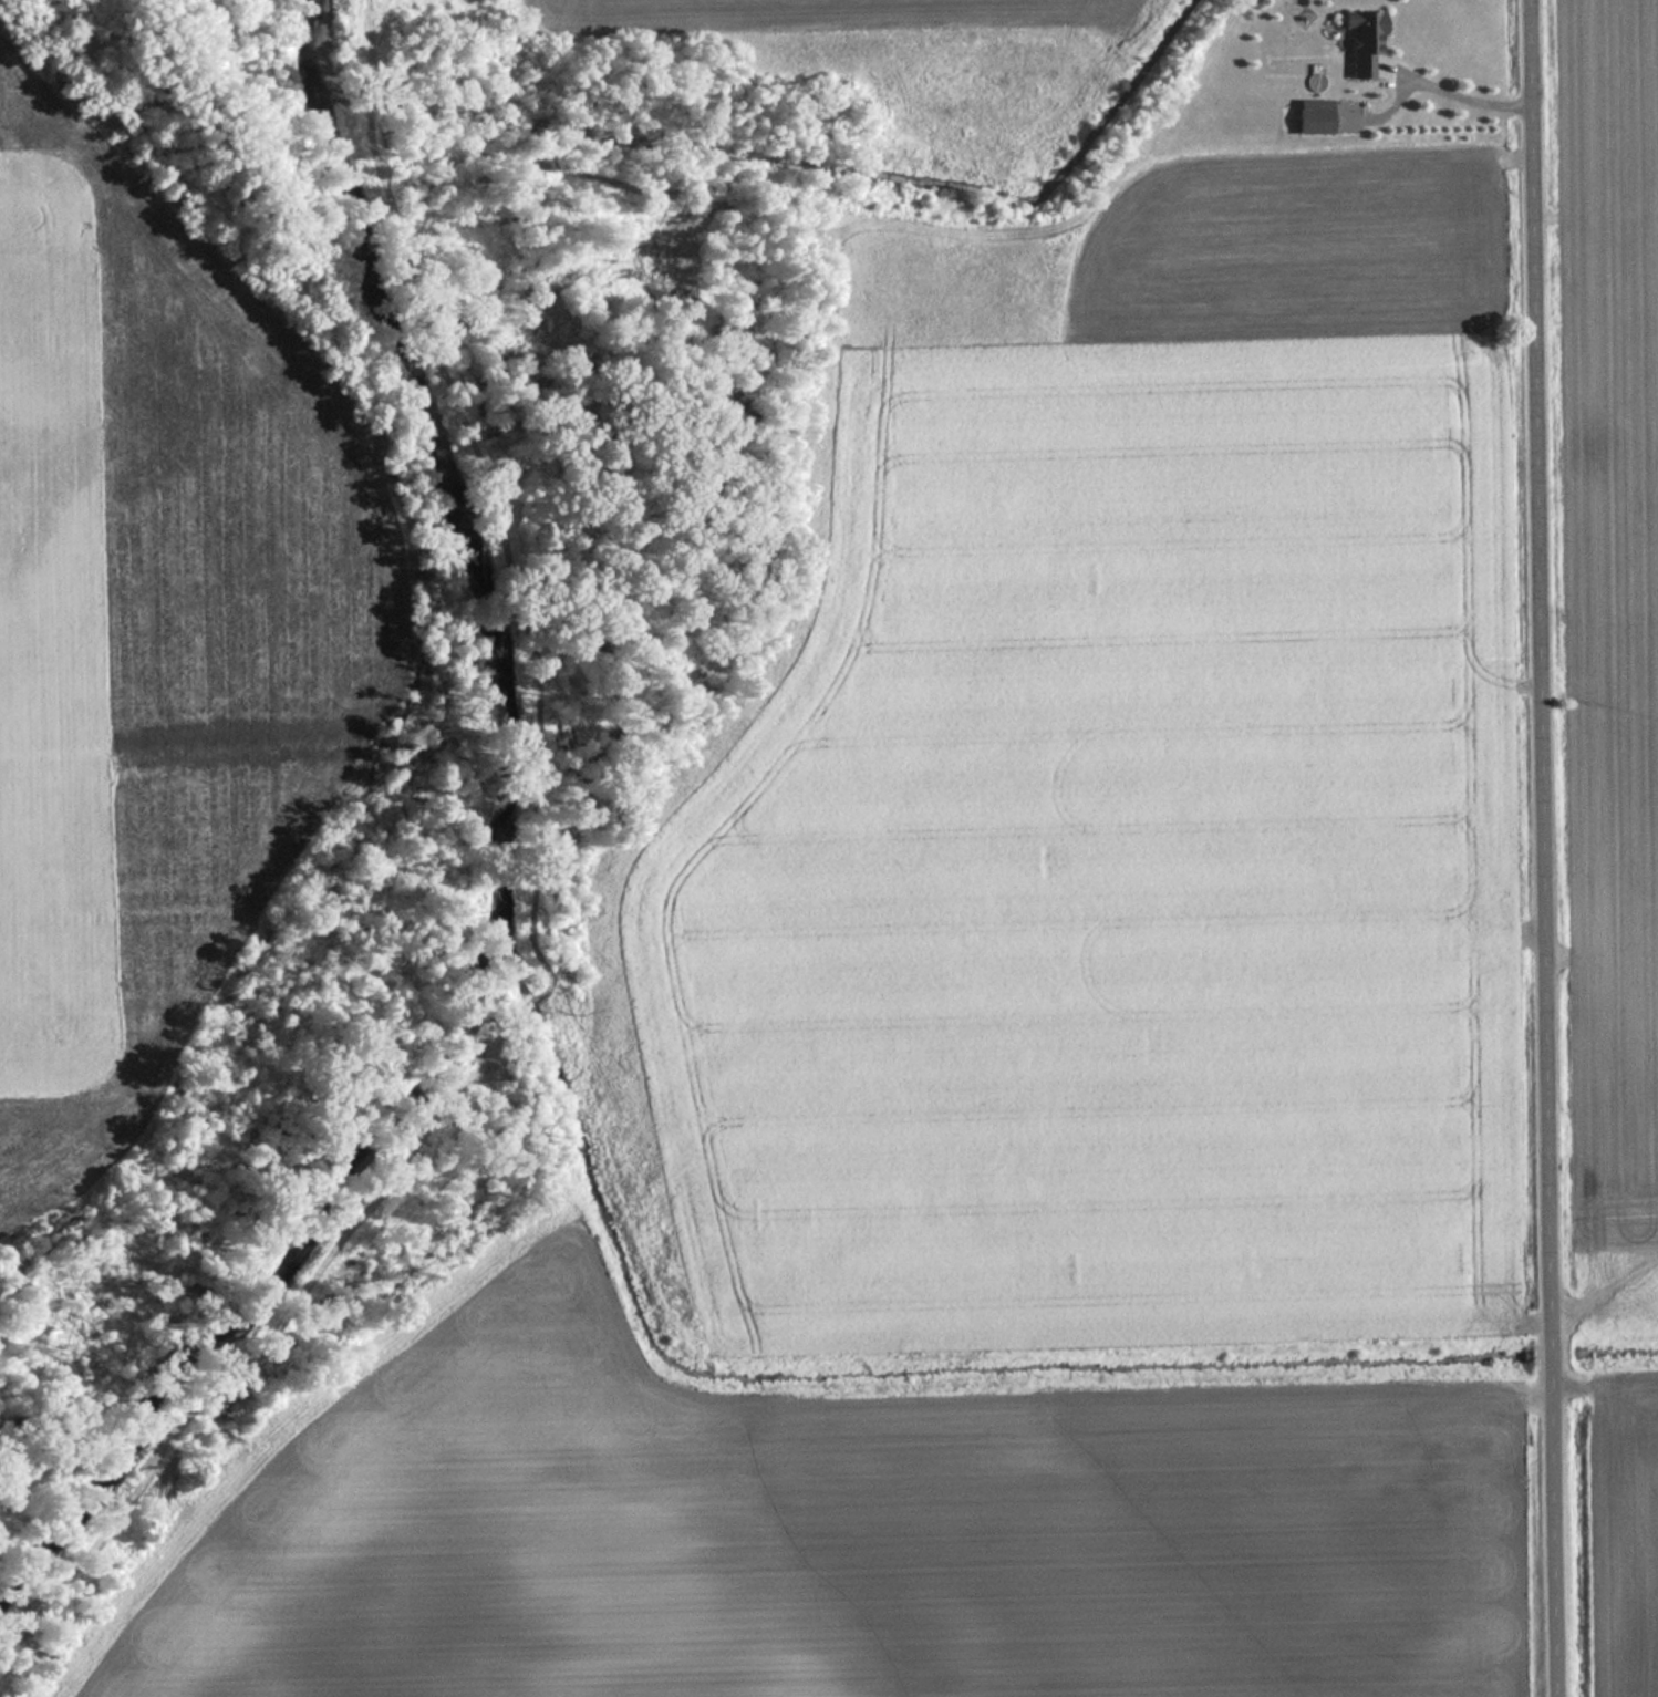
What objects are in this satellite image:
building: (1364, 42)
building: (1315, 117)
road: (1548, 848)
river: (498, 871)

